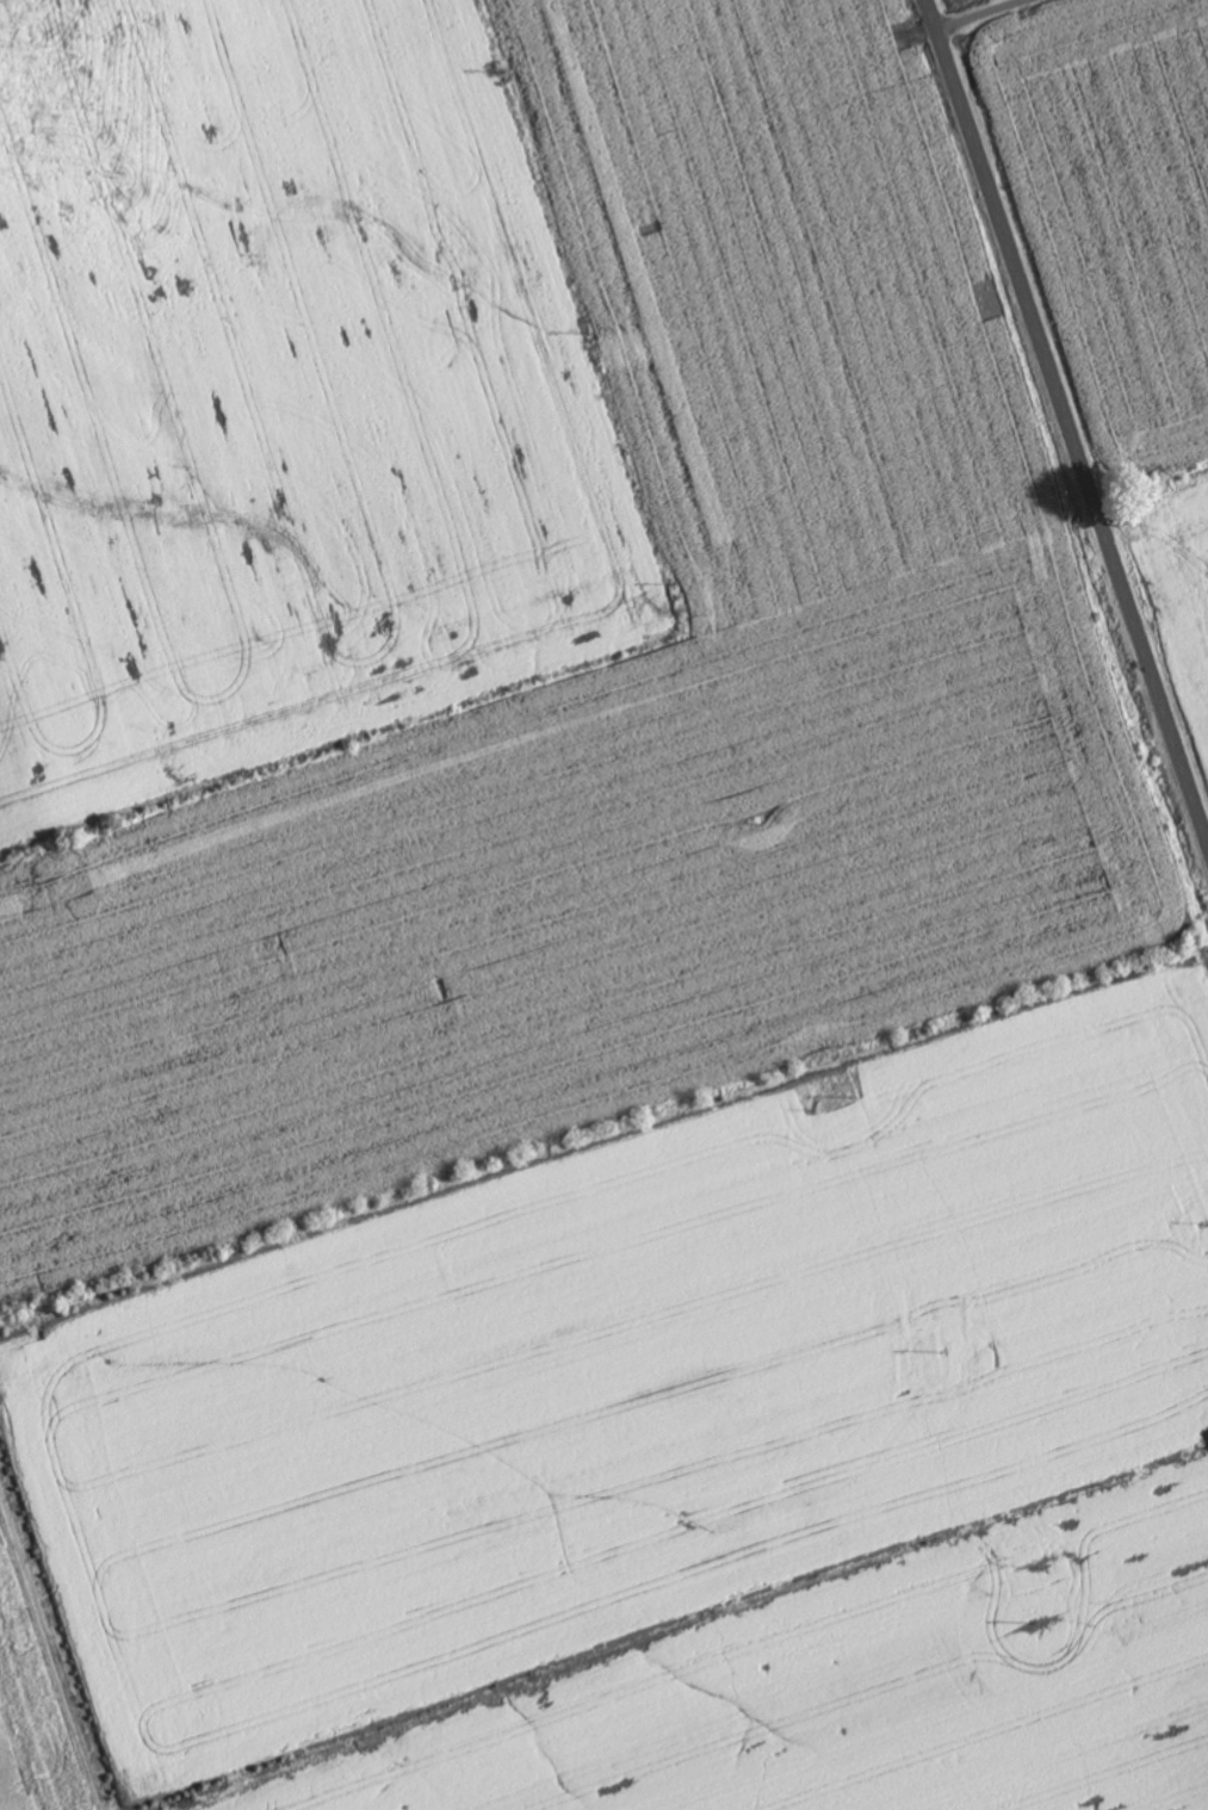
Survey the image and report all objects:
road: (1066, 422)

